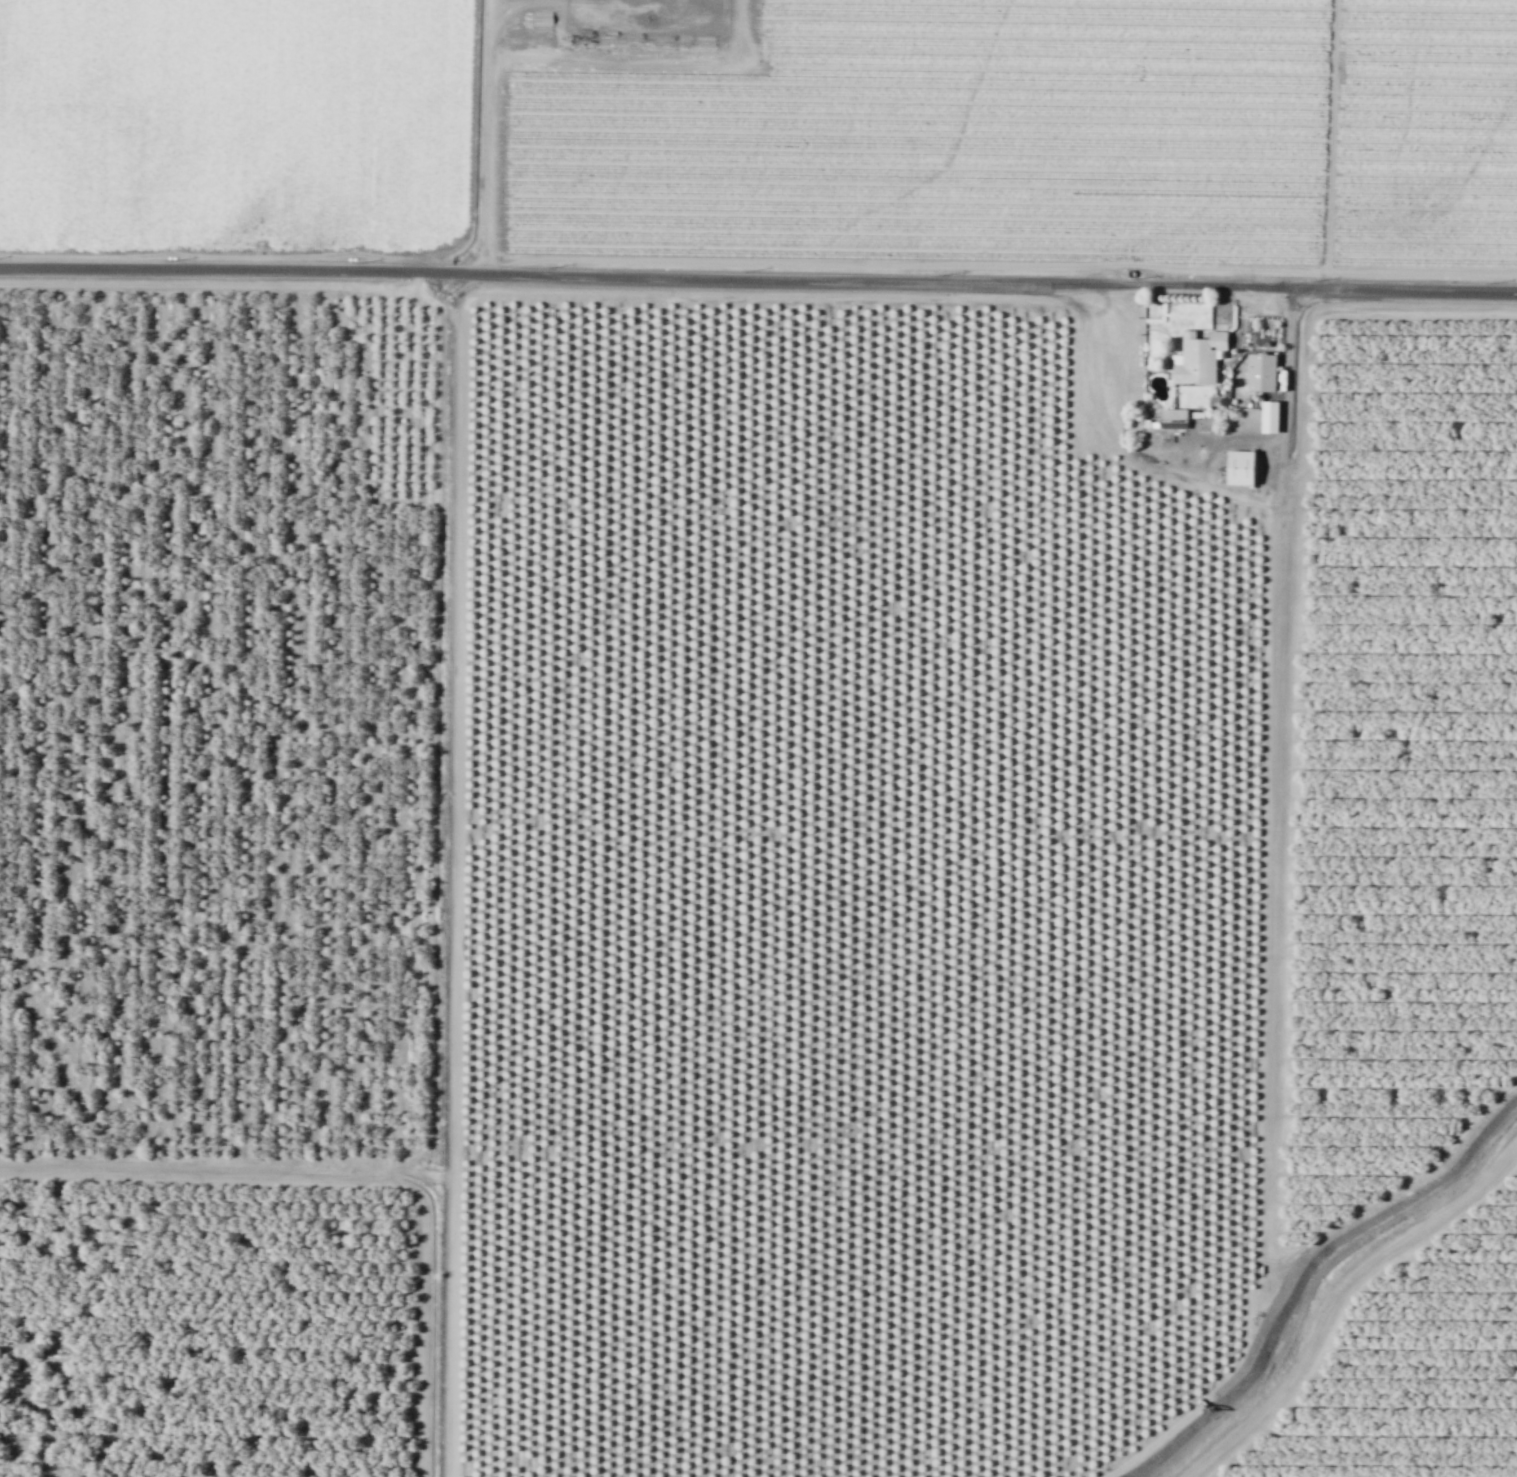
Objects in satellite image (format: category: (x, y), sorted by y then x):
road: (486, 136)
road: (1329, 143)
road: (356, 255)
road: (912, 263)
road: (1421, 274)
road: (758, 278)
road: (237, 281)
road: (762, 294)
road: (1314, 318)
building: (1198, 358)
building: (1261, 373)
building: (1270, 417)
building: (1240, 468)
road: (429, 752)
road: (1273, 858)
road: (456, 901)
road: (424, 1170)
road: (350, 1179)
road: (1402, 1190)
road: (1336, 1298)

